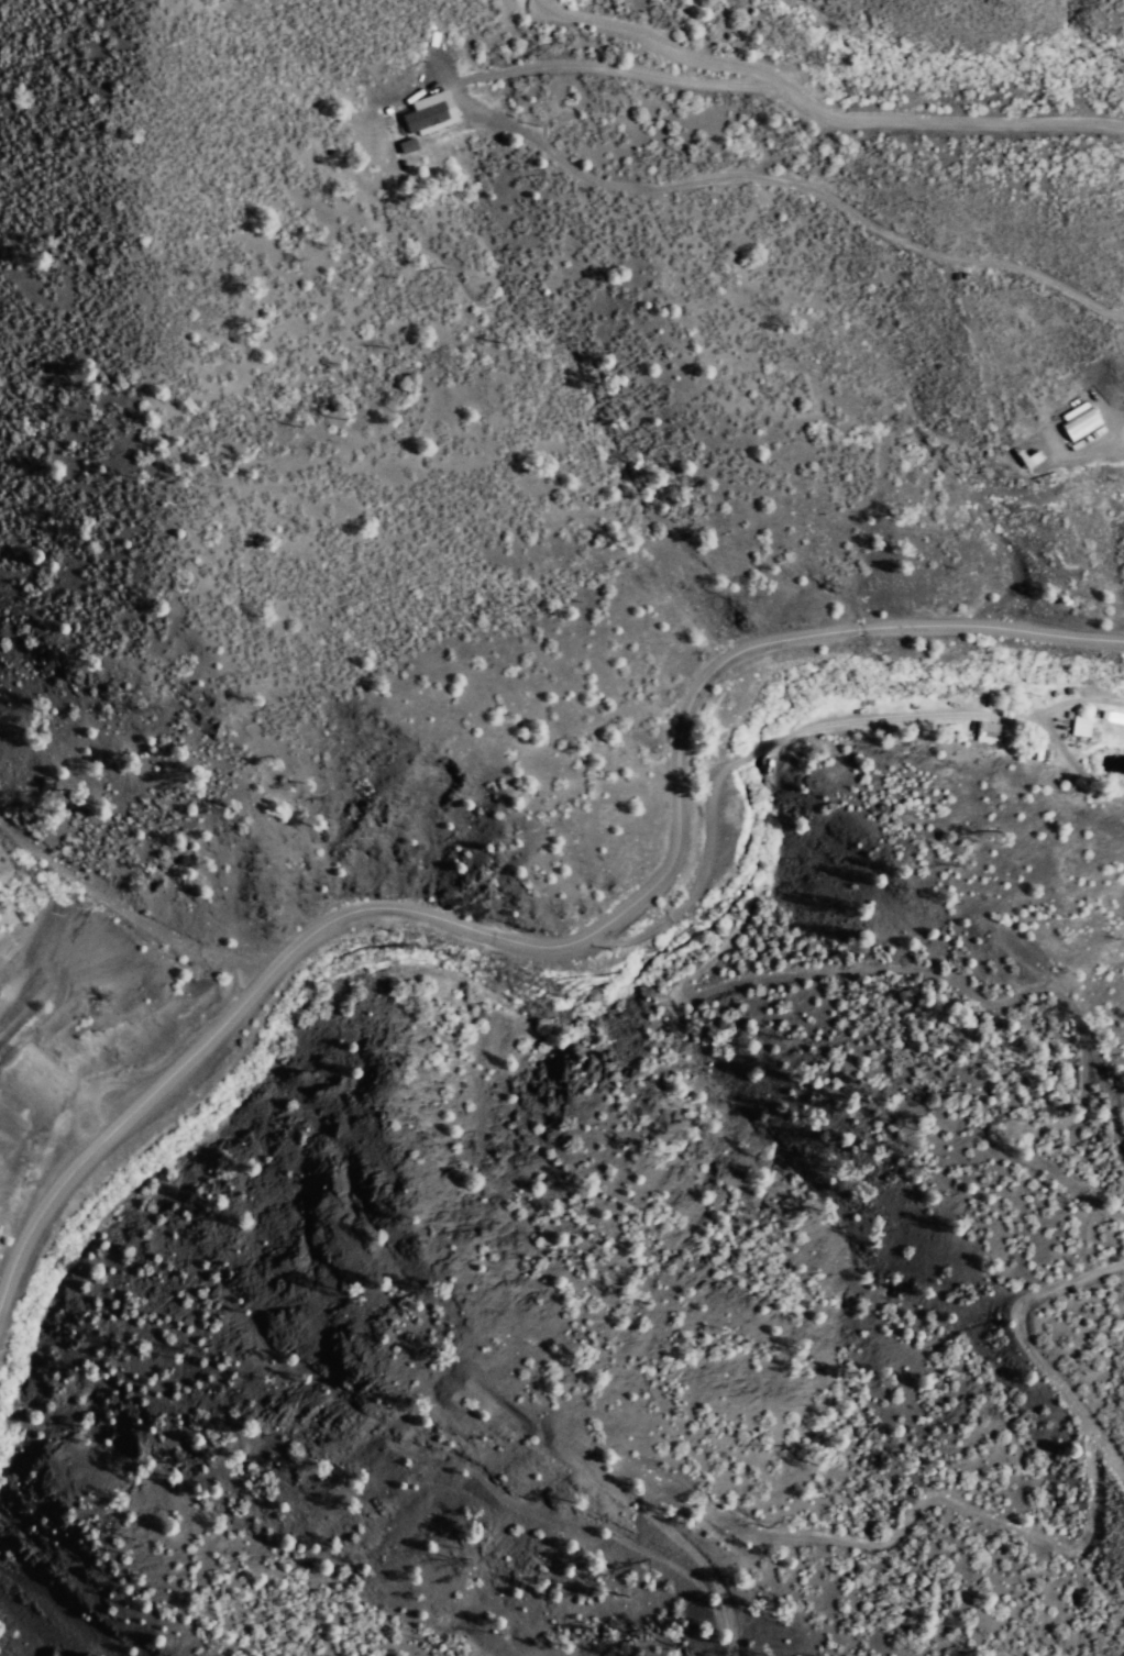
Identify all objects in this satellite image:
road: (617, 68)
road: (815, 109)
building: (423, 117)
building: (1081, 427)
road: (974, 515)
road: (572, 936)

